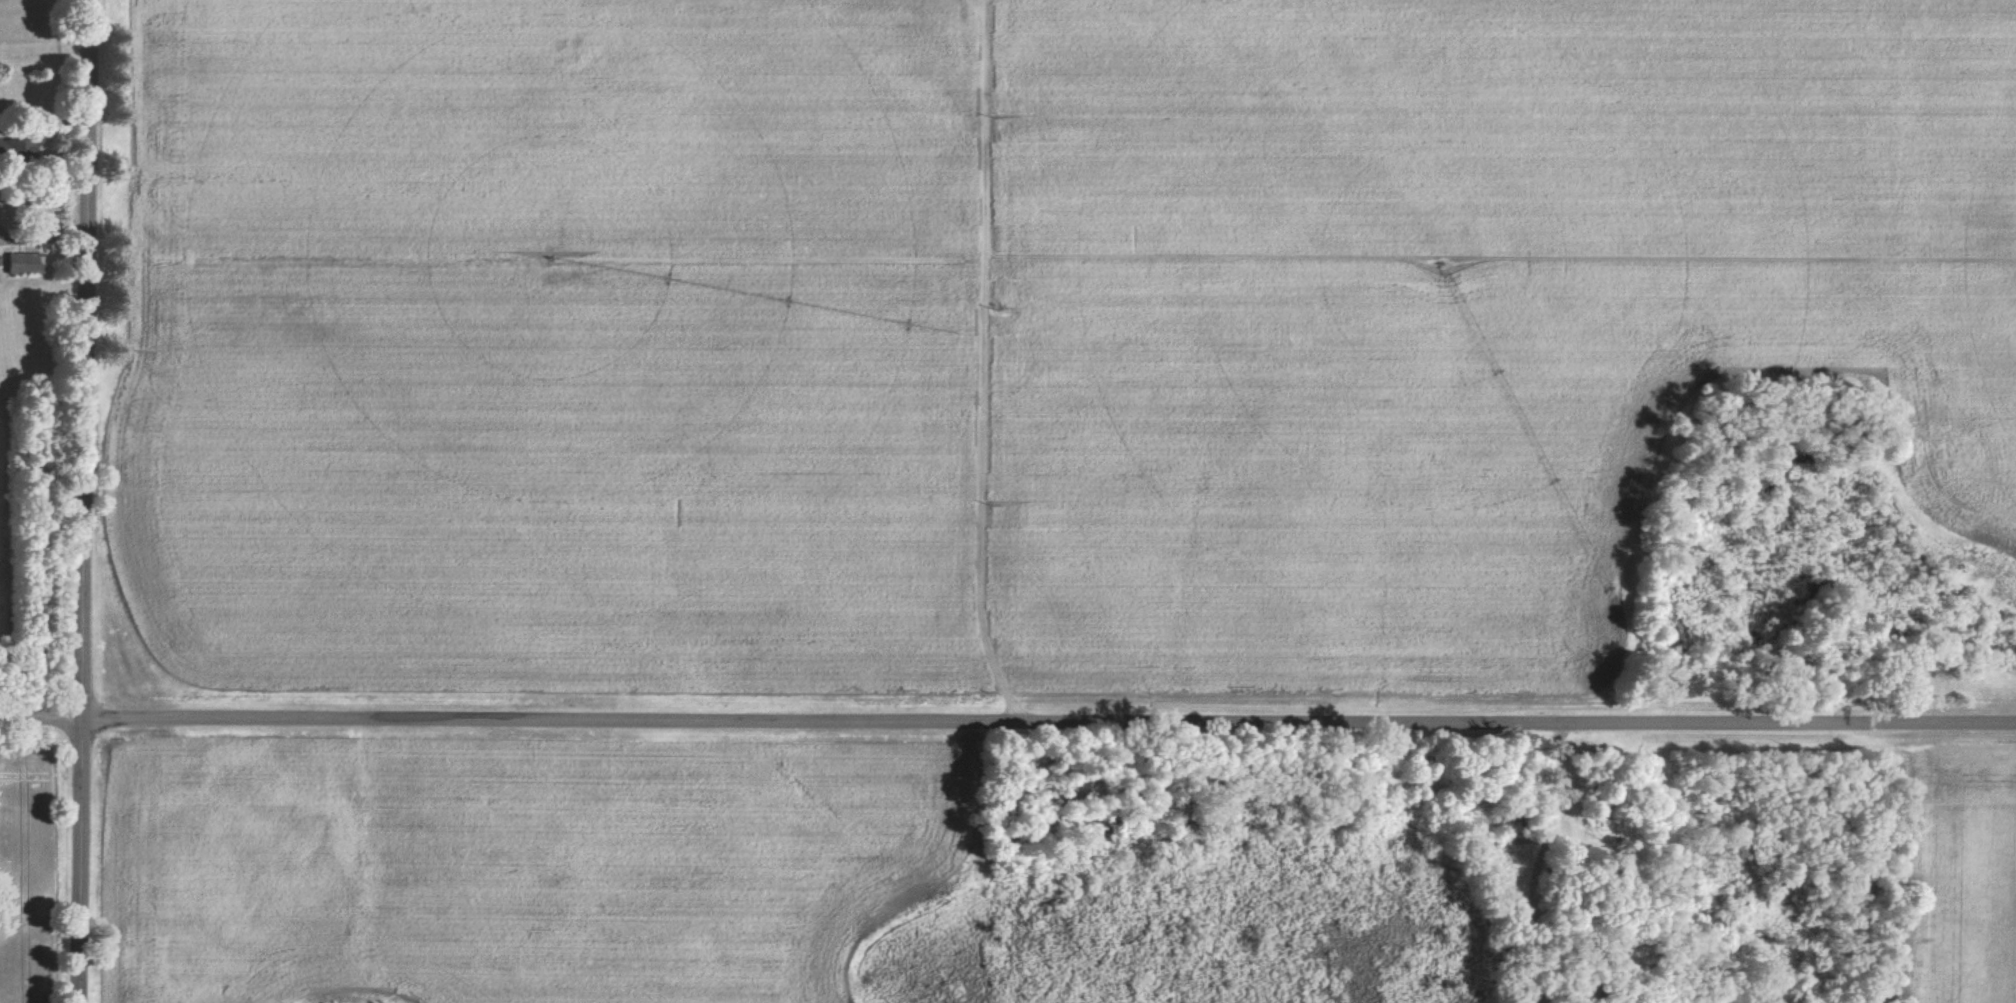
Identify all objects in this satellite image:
building: (16, 150)
road: (40, 235)
building: (23, 262)
road: (77, 501)
road: (1007, 717)
building: (1598, 804)
building: (1627, 950)

